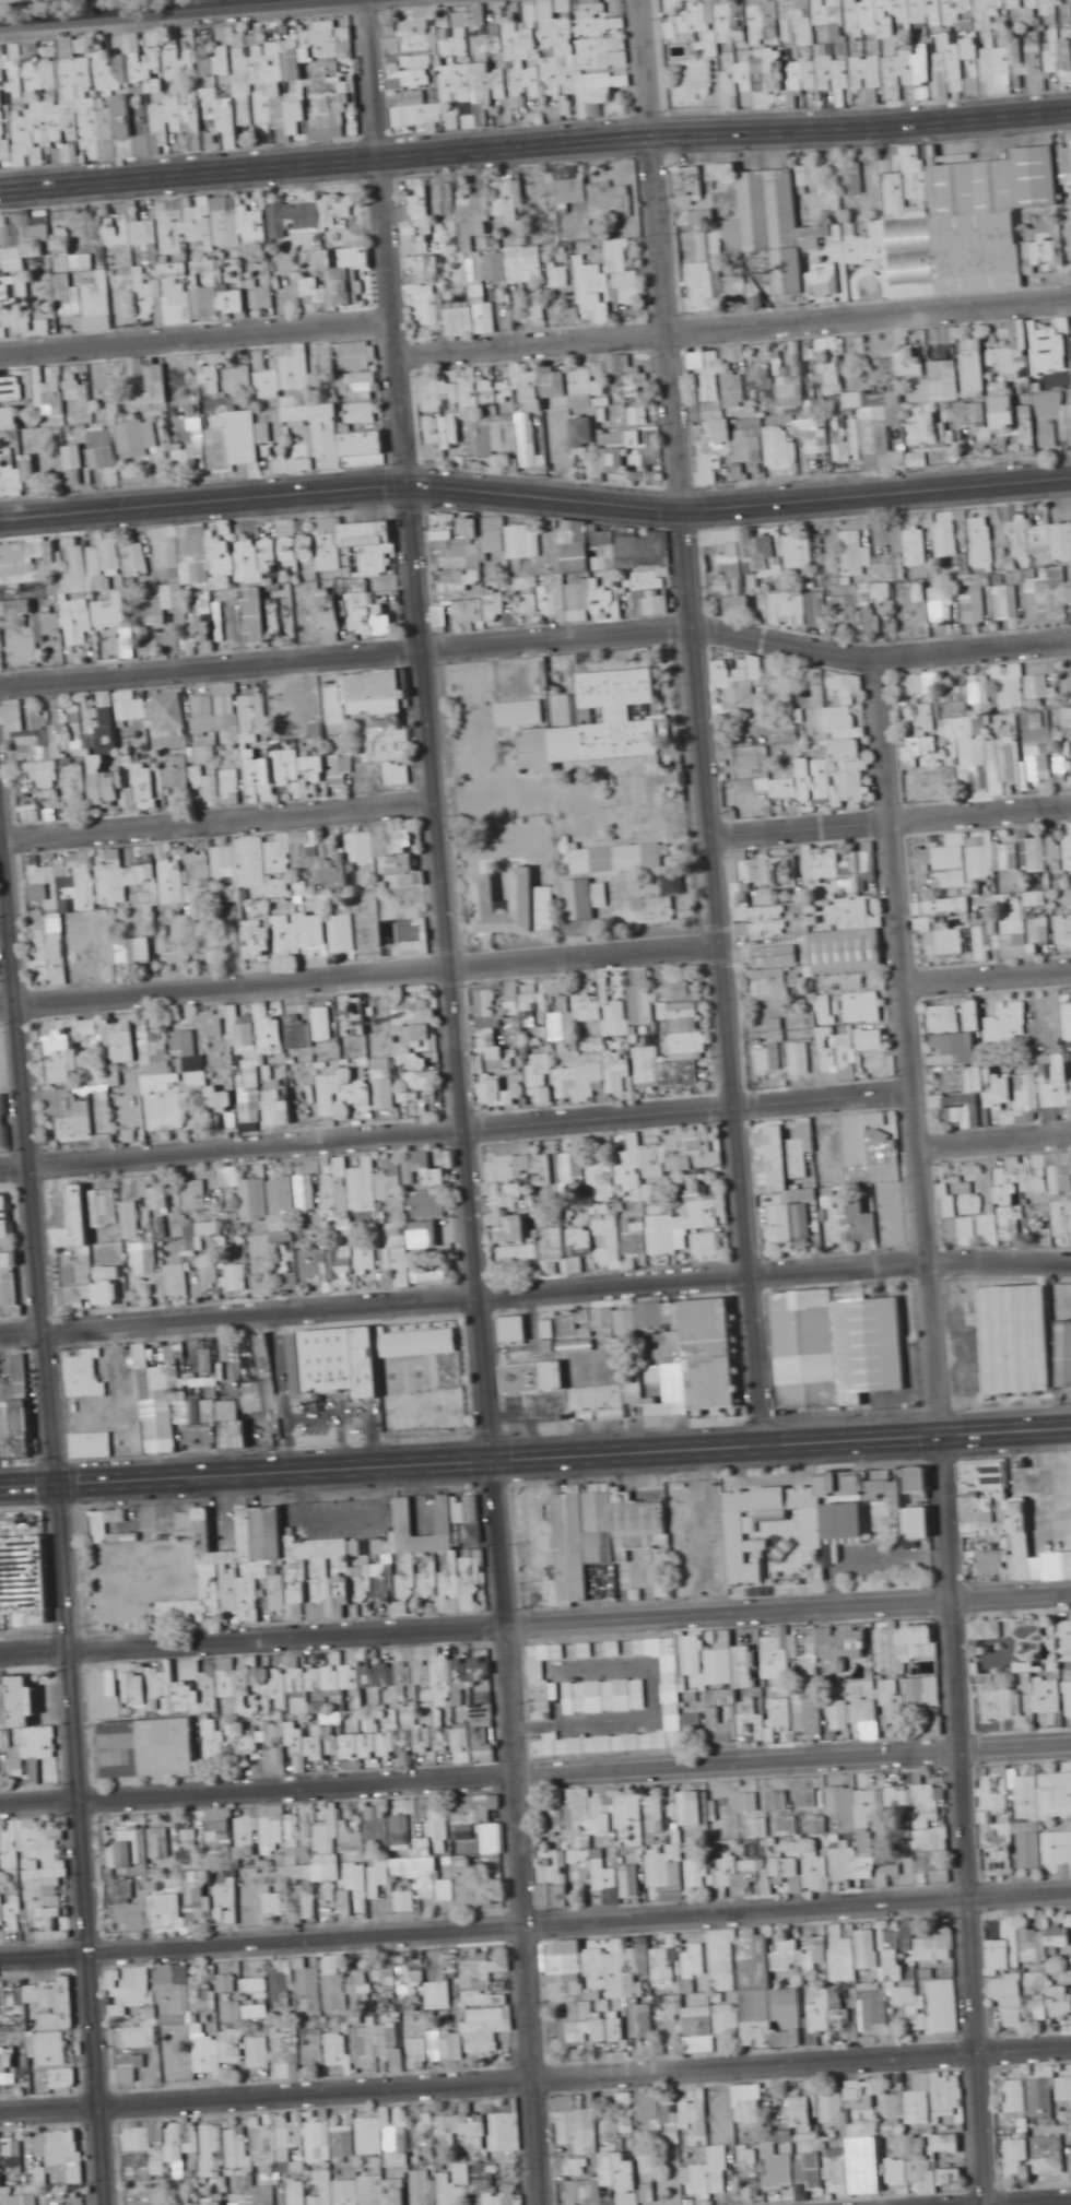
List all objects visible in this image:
building: (952, 2)
building: (1025, 7)
road: (90, 8)
building: (807, 22)
building: (681, 27)
building: (958, 34)
building: (511, 42)
building: (851, 50)
building: (1064, 60)
building: (417, 63)
building: (123, 116)
building: (46, 123)
road: (726, 126)
road: (190, 170)
building: (445, 200)
building: (225, 203)
building: (419, 222)
building: (976, 223)
building: (770, 225)
building: (1069, 241)
building: (855, 243)
building: (174, 245)
building: (14, 260)
building: (561, 275)
building: (341, 279)
building: (215, 291)
building: (479, 294)
building: (534, 314)
road: (396, 321)
road: (734, 325)
road: (197, 333)
building: (945, 335)
building: (1035, 351)
building: (356, 355)
building: (911, 363)
building: (621, 364)
building: (975, 367)
building: (285, 376)
building: (213, 377)
building: (242, 379)
building: (832, 379)
building: (945, 380)
building: (555, 381)
building: (148, 382)
building: (47, 388)
building: (12, 389)
building: (735, 389)
building: (791, 394)
building: (709, 396)
building: (533, 399)
building: (875, 399)
building: (362, 412)
building: (972, 412)
building: (1055, 418)
building: (11, 421)
building: (456, 425)
building: (812, 427)
building: (925, 429)
building: (585, 435)
building: (480, 437)
building: (732, 443)
building: (621, 444)
building: (221, 448)
building: (94, 451)
building: (533, 455)
building: (779, 455)
building: (918, 459)
road: (681, 470)
road: (204, 495)
road: (740, 498)
building: (575, 526)
building: (445, 534)
building: (513, 543)
building: (948, 544)
building: (1022, 544)
building: (195, 546)
building: (292, 547)
building: (270, 550)
building: (982, 550)
building: (329, 551)
building: (745, 551)
building: (799, 551)
building: (918, 553)
building: (137, 559)
building: (93, 567)
building: (1051, 585)
building: (723, 587)
building: (584, 594)
building: (1008, 602)
building: (739, 603)
building: (944, 604)
building: (163, 605)
building: (976, 606)
building: (480, 609)
building: (19, 610)
building: (256, 615)
building: (116, 617)
building: (872, 618)
building: (374, 621)
building: (79, 625)
building: (332, 625)
road: (746, 632)
building: (200, 634)
road: (211, 661)
building: (722, 673)
building: (1012, 687)
building: (600, 688)
building: (1039, 692)
building: (966, 696)
building: (751, 697)
building: (339, 705)
building: (841, 707)
building: (927, 710)
building: (507, 714)
building: (27, 716)
building: (212, 720)
building: (251, 720)
building: (287, 744)
building: (925, 745)
building: (535, 747)
building: (975, 750)
building: (78, 751)
building: (753, 762)
building: (328, 768)
building: (290, 770)
building: (74, 777)
building: (816, 778)
building: (523, 780)
building: (941, 780)
building: (790, 787)
building: (207, 789)
road: (217, 817)
road: (892, 817)
building: (1050, 852)
building: (346, 854)
building: (278, 857)
building: (965, 857)
building: (1008, 857)
building: (617, 858)
building: (225, 860)
building: (66, 868)
building: (207, 880)
building: (115, 882)
building: (87, 883)
building: (46, 886)
building: (484, 887)
building: (762, 896)
building: (584, 898)
building: (854, 907)
building: (647, 910)
building: (987, 923)
building: (1063, 930)
building: (301, 932)
building: (342, 933)
building: (204, 940)
building: (259, 941)
building: (948, 942)
building: (51, 947)
building: (81, 947)
building: (137, 948)
building: (776, 956)
road: (361, 970)
road: (987, 974)
building: (844, 982)
building: (643, 1003)
building: (864, 1007)
building: (533, 1009)
building: (681, 1011)
building: (575, 1015)
building: (213, 1024)
building: (246, 1031)
building: (493, 1035)
building: (410, 1037)
building: (185, 1042)
building: (62, 1057)
road: (455, 1123)
road: (994, 1136)
road: (742, 1184)
road: (534, 1288)
road: (917, 1422)
road: (487, 1424)
road: (942, 1429)
road: (627, 1438)
road: (766, 1440)
road: (919, 1442)
road: (319, 1455)
road: (629, 1458)
road: (104, 1467)
road: (30, 1472)
road: (275, 1477)
road: (30, 1490)
road: (61, 1502)
road: (534, 1620)
road: (570, 1664)
road: (608, 1717)
road: (535, 1772)
road: (535, 1923)

